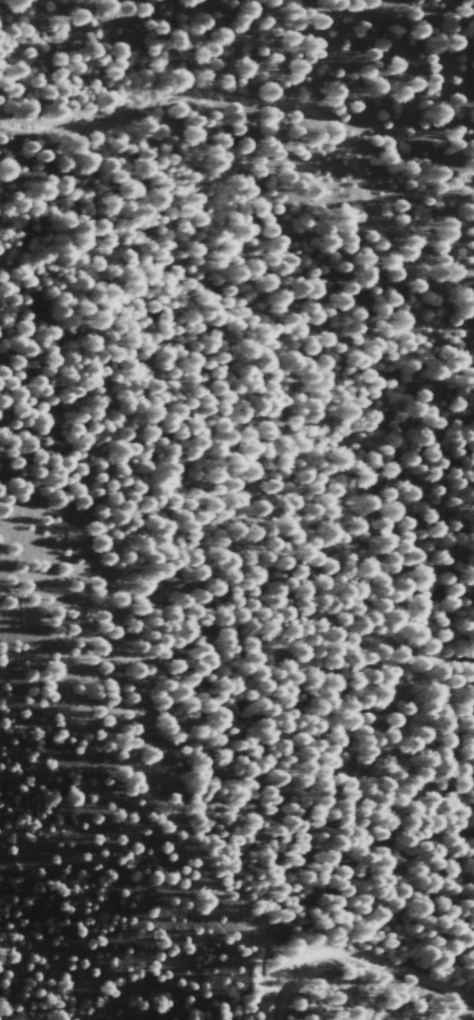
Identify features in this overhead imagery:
road: (369, 975)

